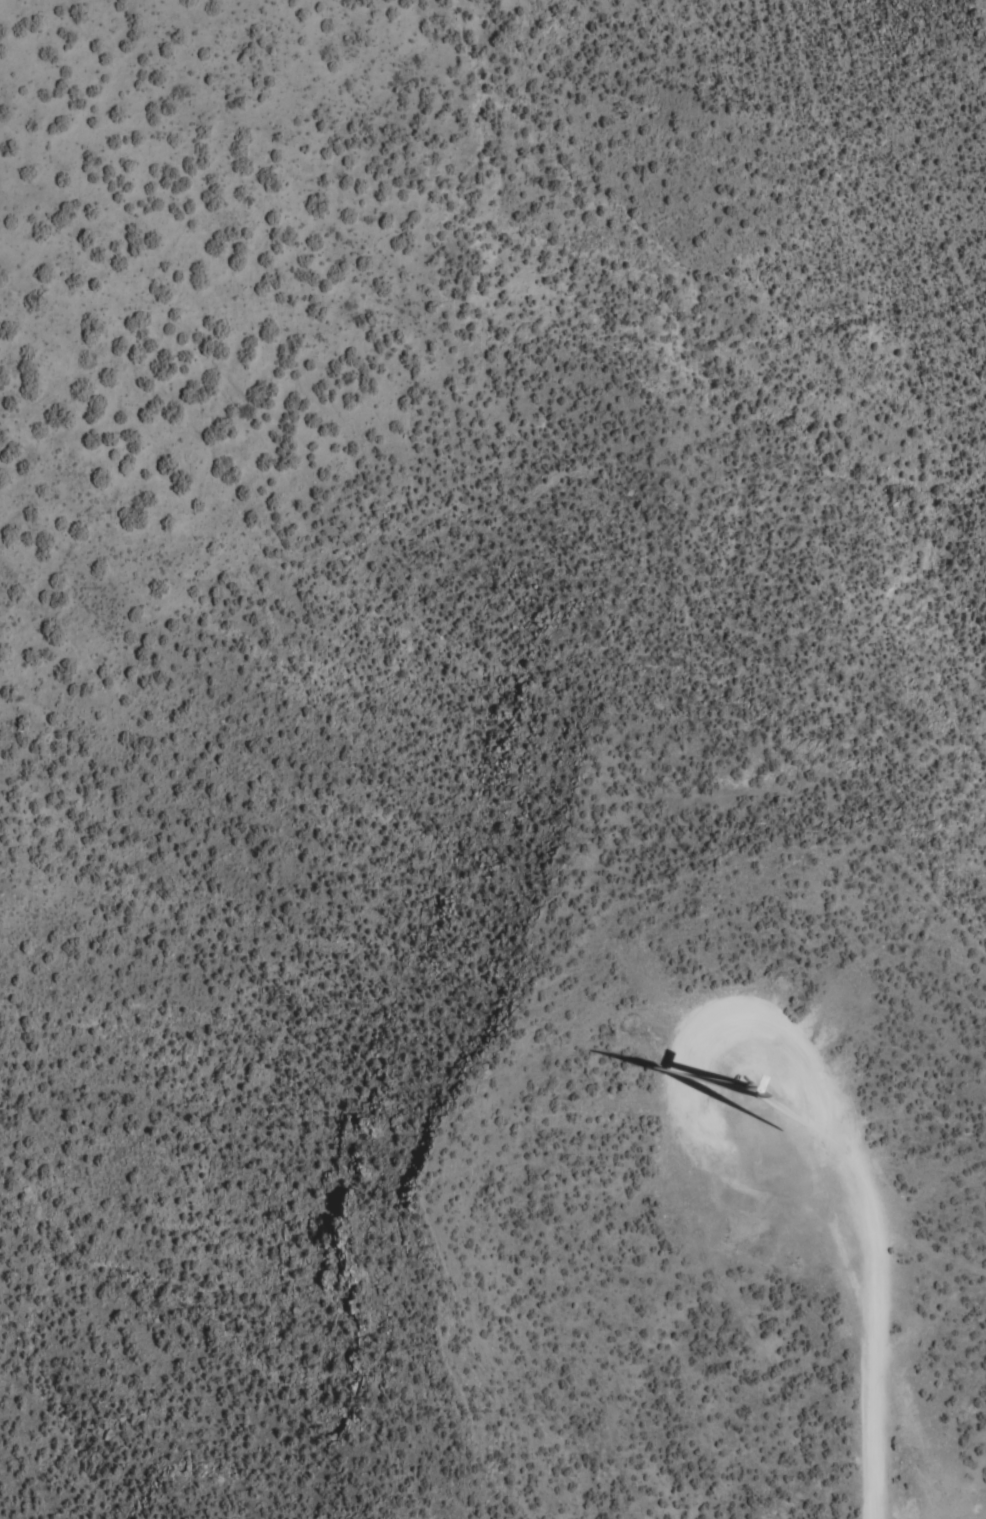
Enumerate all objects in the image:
wind turbine: (747, 1092)

